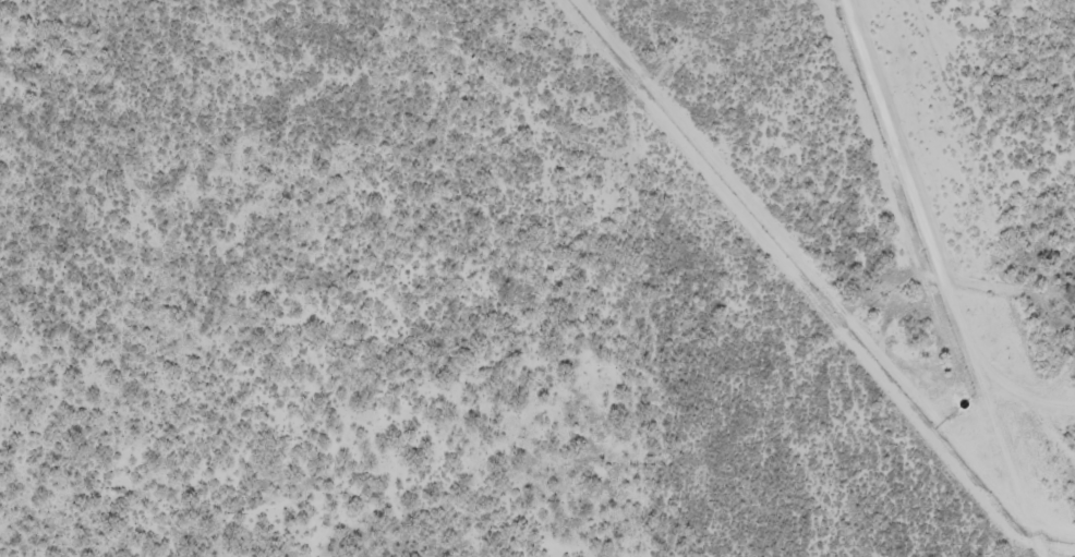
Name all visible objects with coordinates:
road: (947, 278)
road: (818, 280)

